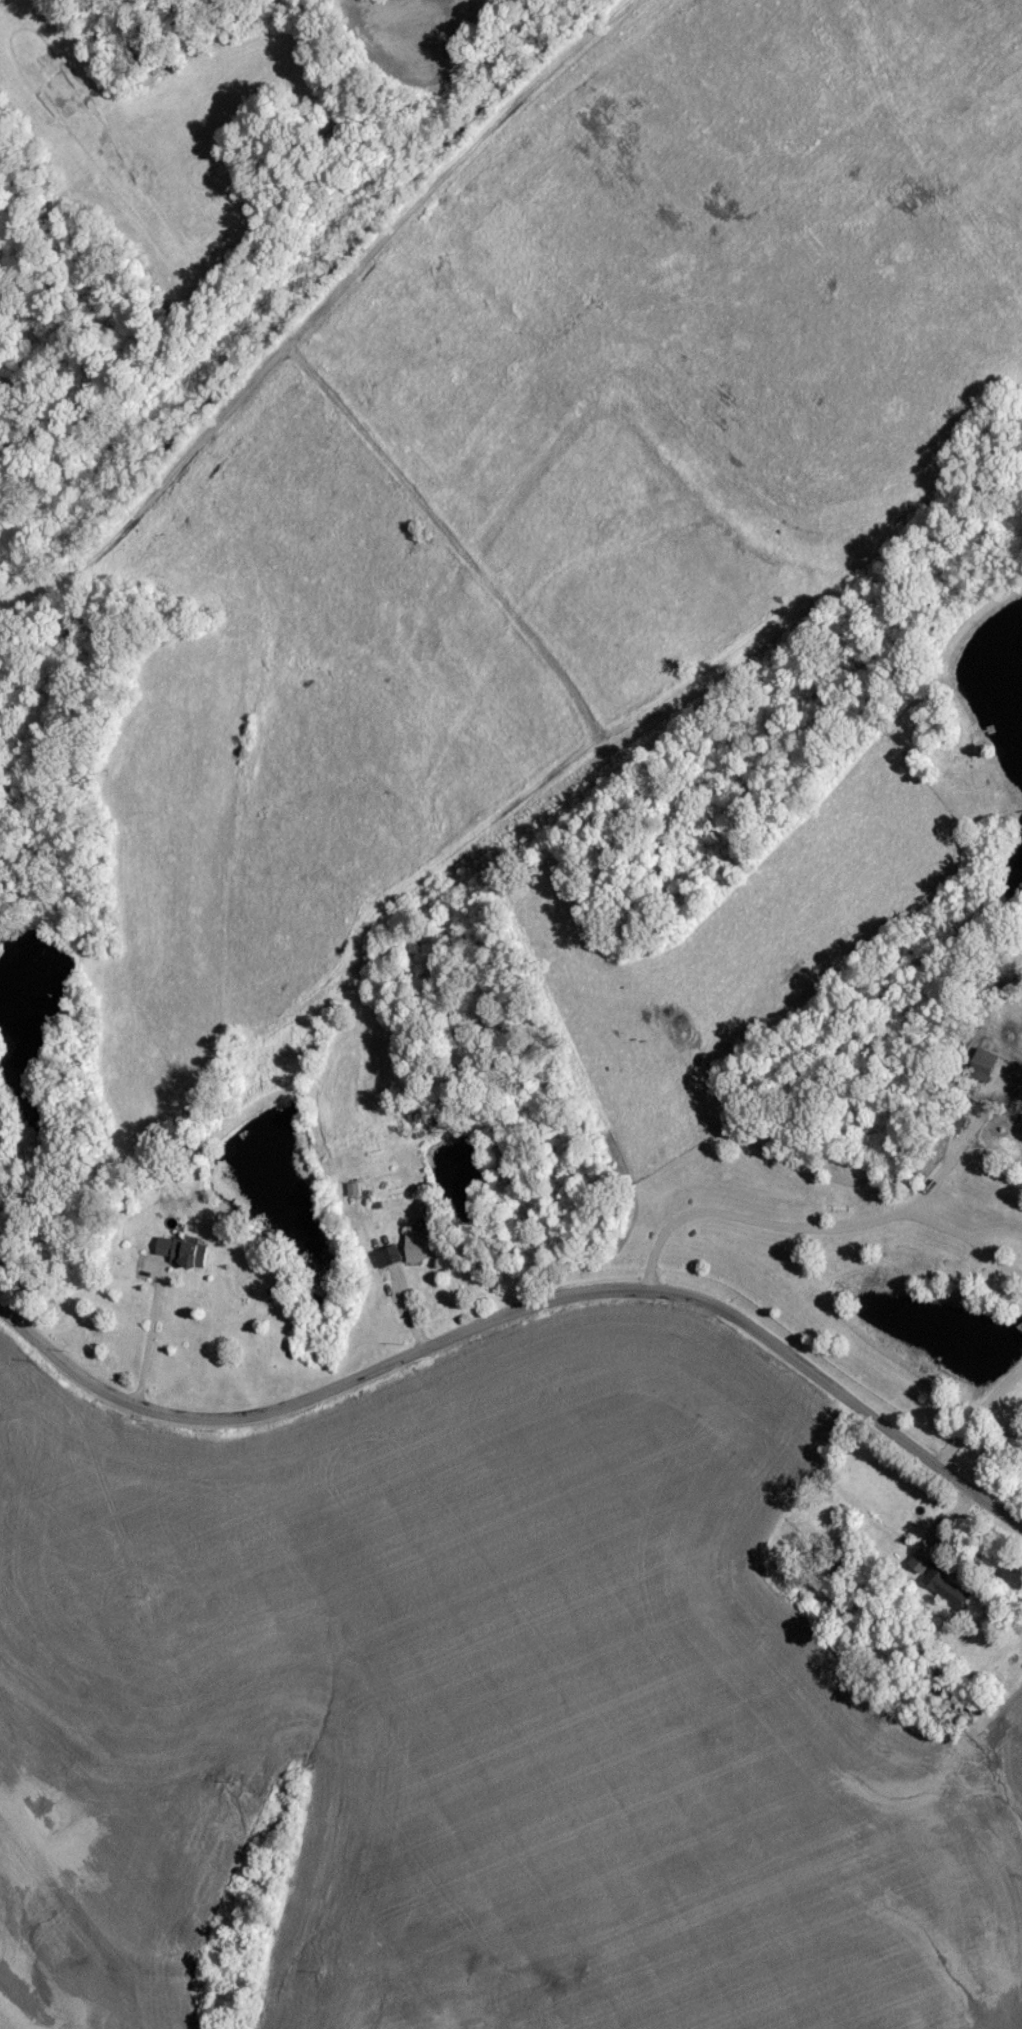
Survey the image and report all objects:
road: (840, 1234)
road: (968, 1248)
building: (422, 1252)
building: (183, 1258)
road: (523, 1309)
road: (147, 1335)
road: (979, 1419)

